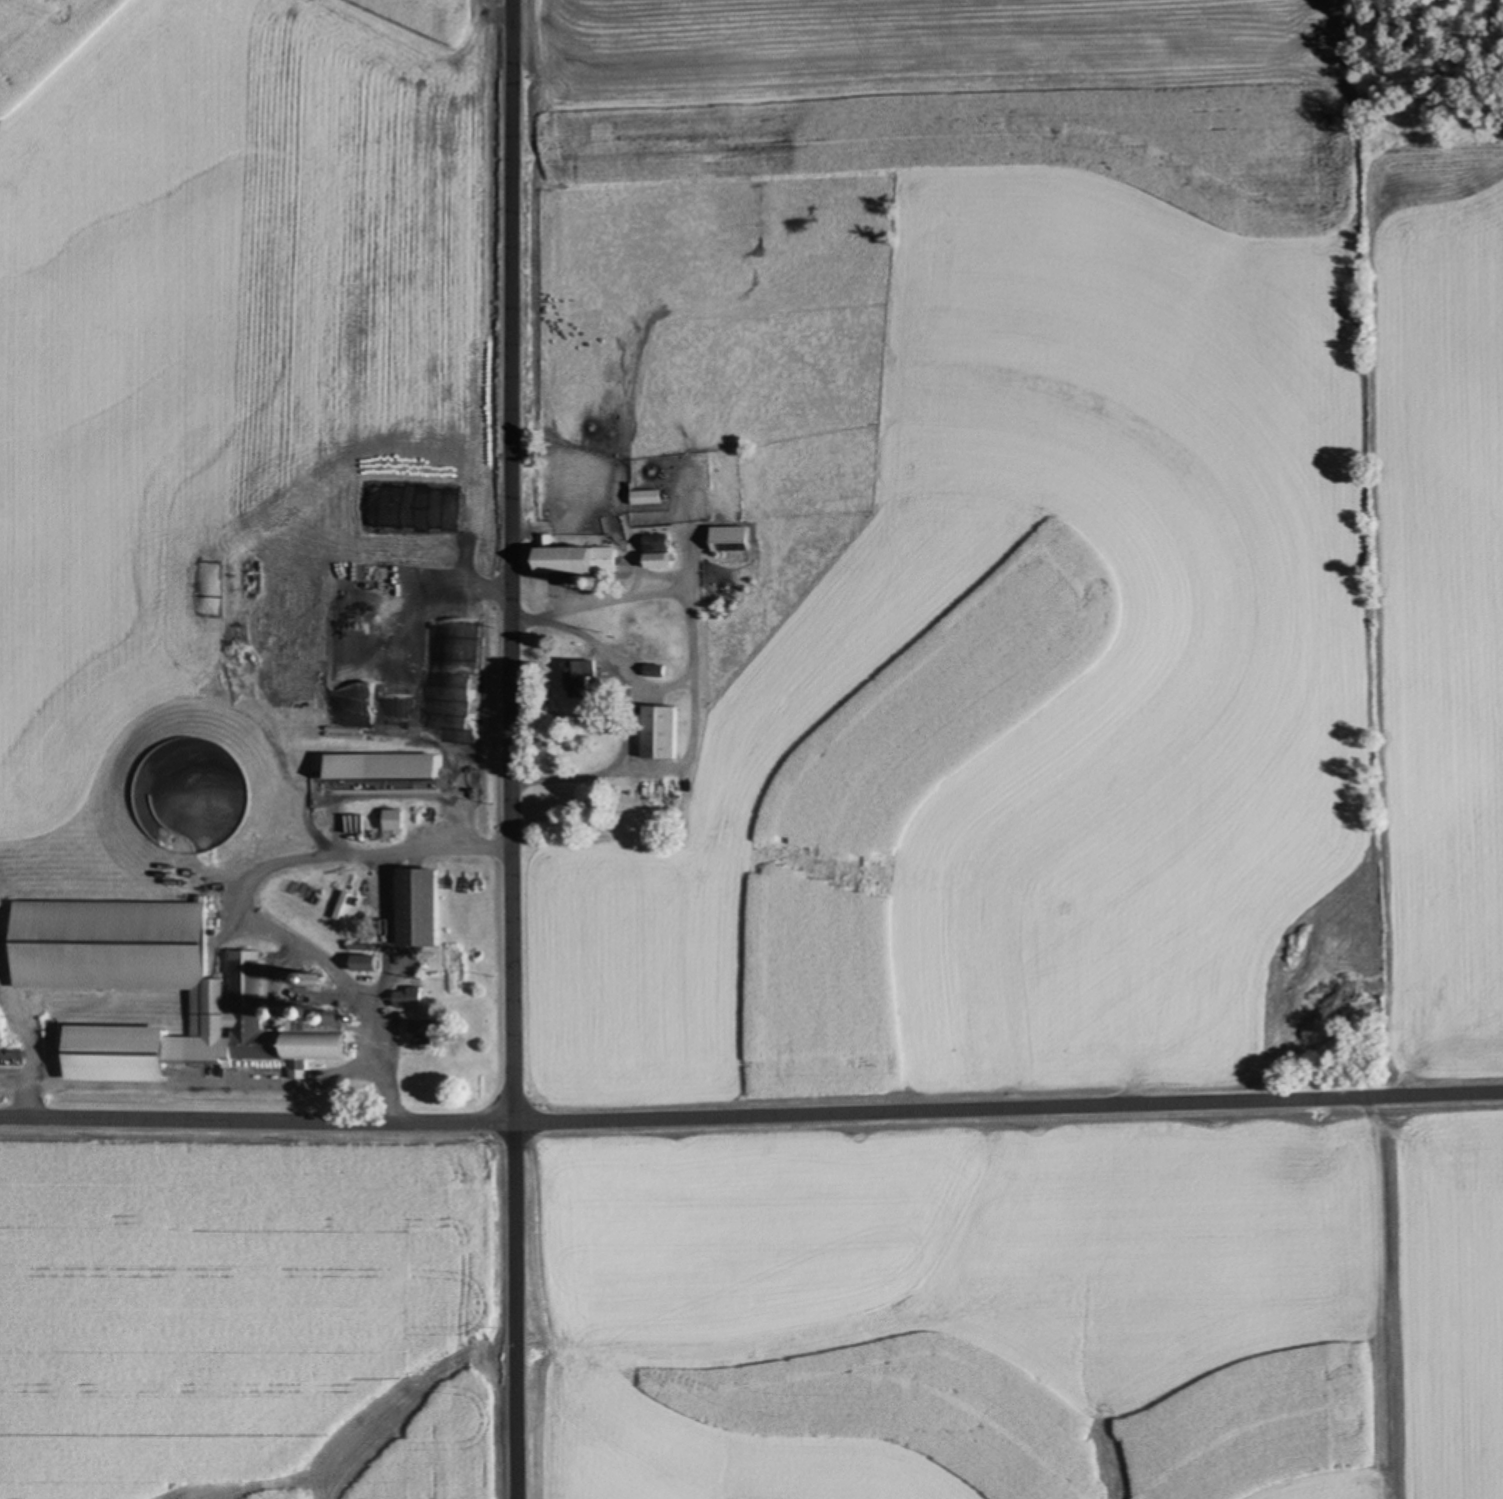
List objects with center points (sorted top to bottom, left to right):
crop: (215, 324)
building: (646, 497)
building: (730, 539)
building: (658, 560)
building: (578, 562)
crop: (1081, 573)
building: (587, 679)
road: (632, 706)
building: (665, 733)
road: (515, 749)
building: (405, 766)
building: (394, 820)
building: (421, 908)
building: (368, 964)
building: (410, 996)
building: (256, 1028)
building: (432, 1033)
road: (1010, 1104)
road: (258, 1117)
crop: (1019, 1306)
crop: (251, 1313)

